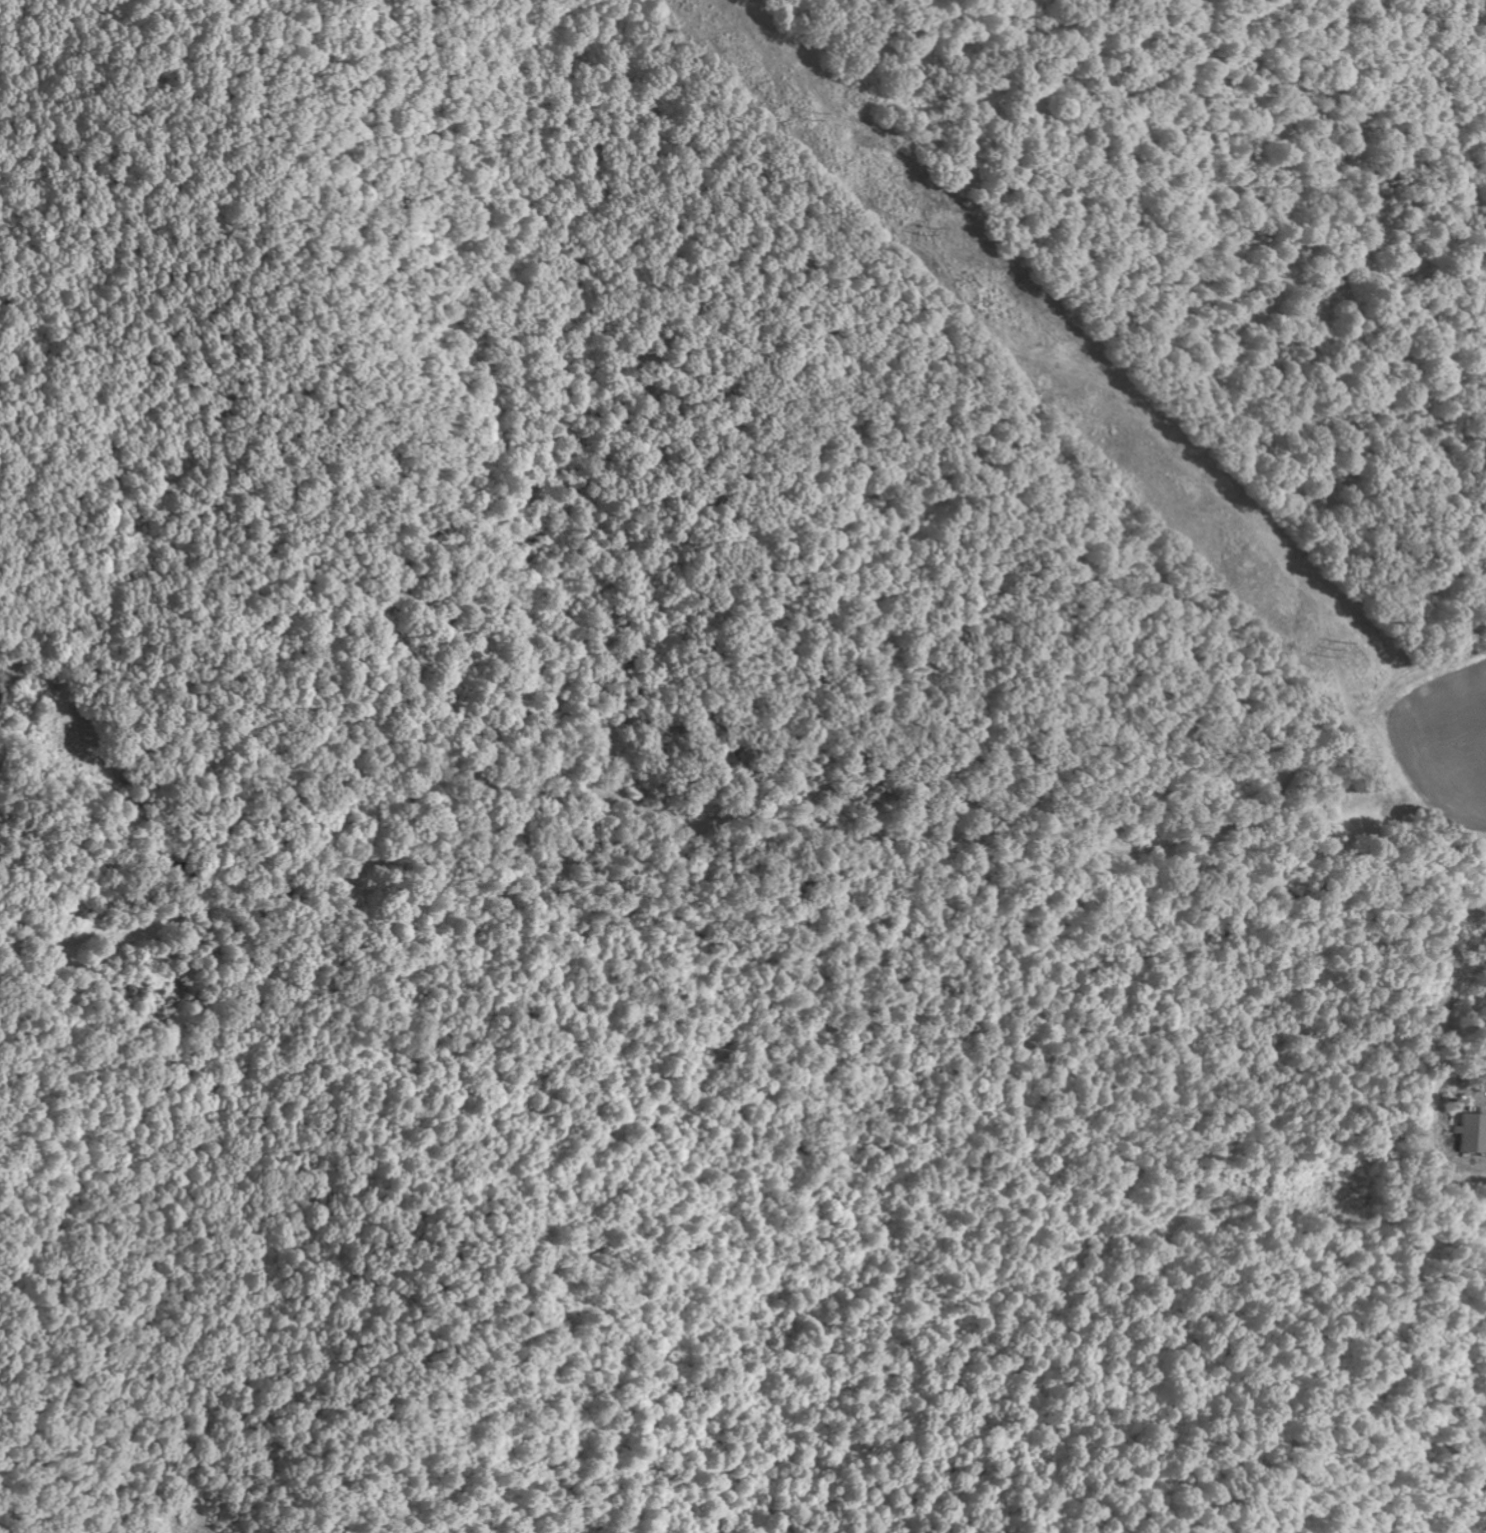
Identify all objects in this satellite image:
building: (1470, 1134)

